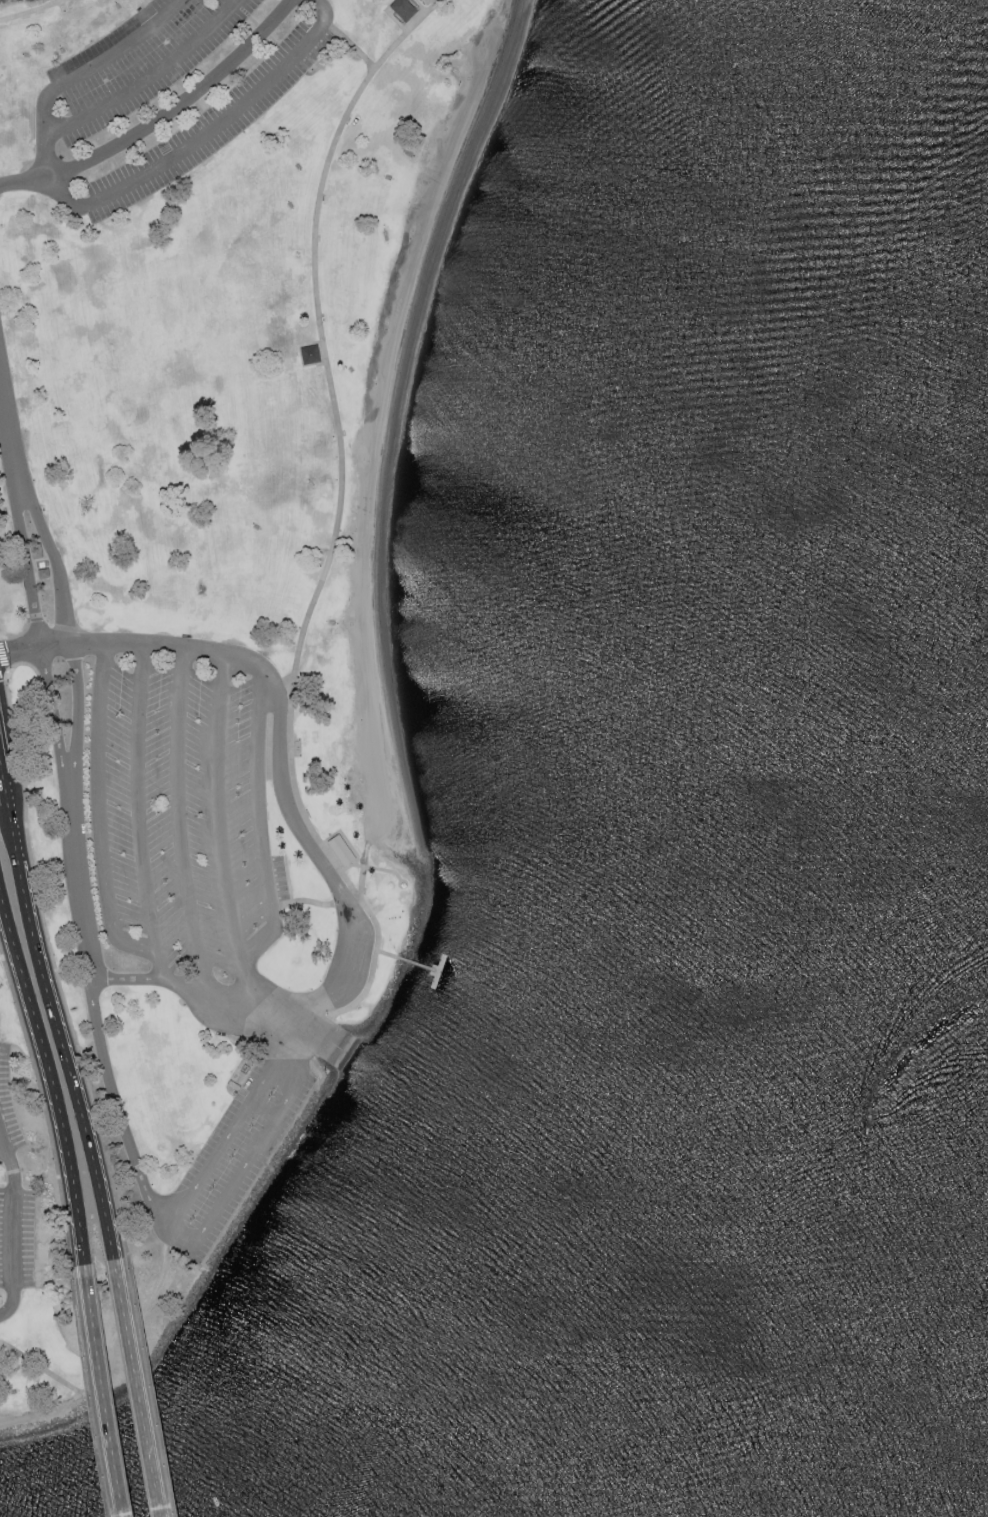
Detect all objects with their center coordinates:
building: (405, 10)
road: (33, 11)
road: (356, 48)
road: (148, 78)
parking lot: (165, 95)
road: (161, 120)
road: (94, 203)
park: (235, 337)
building: (312, 356)
road: (10, 440)
road: (341, 512)
road: (55, 568)
road: (25, 573)
road: (54, 647)
road: (20, 651)
road: (77, 711)
road: (51, 713)
road: (0, 774)
parking lot: (181, 807)
road: (99, 814)
road: (138, 814)
road: (178, 820)
road: (259, 825)
road: (220, 829)
building: (343, 851)
road: (317, 860)
road: (77, 880)
road: (392, 956)
pier: (422, 967)
pier: (440, 973)
road: (57, 1018)
road: (304, 1035)
road: (48, 1071)
road: (285, 1077)
road: (121, 1124)
road: (234, 1130)
parking lot: (233, 1157)
road: (242, 1168)
parking lot: (13, 1196)
road: (12, 1232)
park: (31, 1256)
road: (116, 1364)
road: (141, 1388)
road: (108, 1389)

